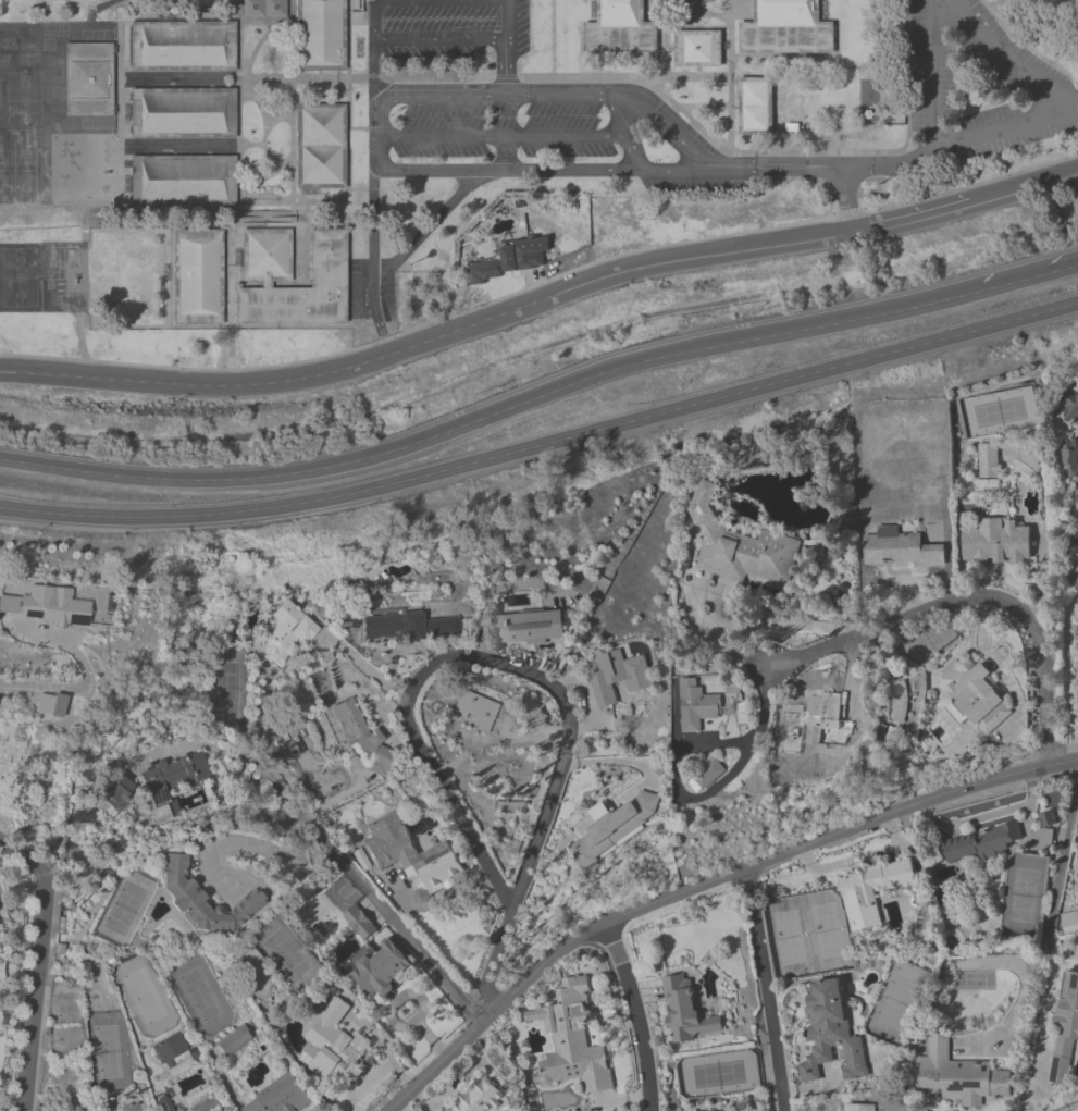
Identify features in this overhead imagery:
building: (263, 9)
road: (984, 12)
road: (474, 22)
building: (785, 27)
building: (619, 29)
building: (321, 35)
building: (182, 45)
road: (1024, 46)
road: (373, 58)
building: (87, 71)
park: (987, 89)
parking lot: (1041, 90)
building: (754, 104)
building: (177, 112)
road: (614, 114)
road: (379, 115)
road: (998, 127)
road: (501, 136)
building: (320, 147)
road: (633, 153)
road: (773, 166)
road: (856, 166)
building: (166, 174)
road: (426, 226)
road: (730, 249)
building: (265, 255)
road: (373, 258)
building: (510, 261)
road: (1063, 269)
road: (1016, 281)
road: (196, 381)
building: (1070, 403)
road: (495, 415)
building: (1077, 425)
road: (543, 445)
building: (1068, 455)
building: (986, 462)
building: (922, 494)
building: (994, 543)
building: (738, 545)
building: (899, 548)
road: (971, 595)
building: (46, 607)
building: (408, 627)
building: (528, 630)
building: (287, 633)
road: (365, 668)
road: (526, 669)
building: (617, 676)
road: (1068, 676)
road: (59, 689)
building: (972, 696)
building: (694, 706)
building: (475, 711)
building: (810, 724)
building: (358, 737)
building: (883, 739)
building: (171, 785)
road: (703, 794)
road: (292, 805)
building: (609, 830)
road: (247, 843)
building: (980, 843)
building: (408, 855)
road: (706, 885)
building: (871, 891)
building: (202, 900)
building: (359, 923)
building: (1069, 923)
road: (404, 941)
road: (1052, 953)
road: (39, 963)
building: (248, 965)
building: (380, 971)
road: (767, 989)
building: (284, 1002)
building: (685, 1012)
road: (639, 1014)
building: (1064, 1027)
building: (830, 1034)
building: (234, 1040)
building: (573, 1042)
building: (333, 1045)
building: (171, 1051)
building: (958, 1077)
building: (280, 1096)
building: (482, 1098)
building: (132, 1108)
building: (858, 1108)
building: (214, 1110)

